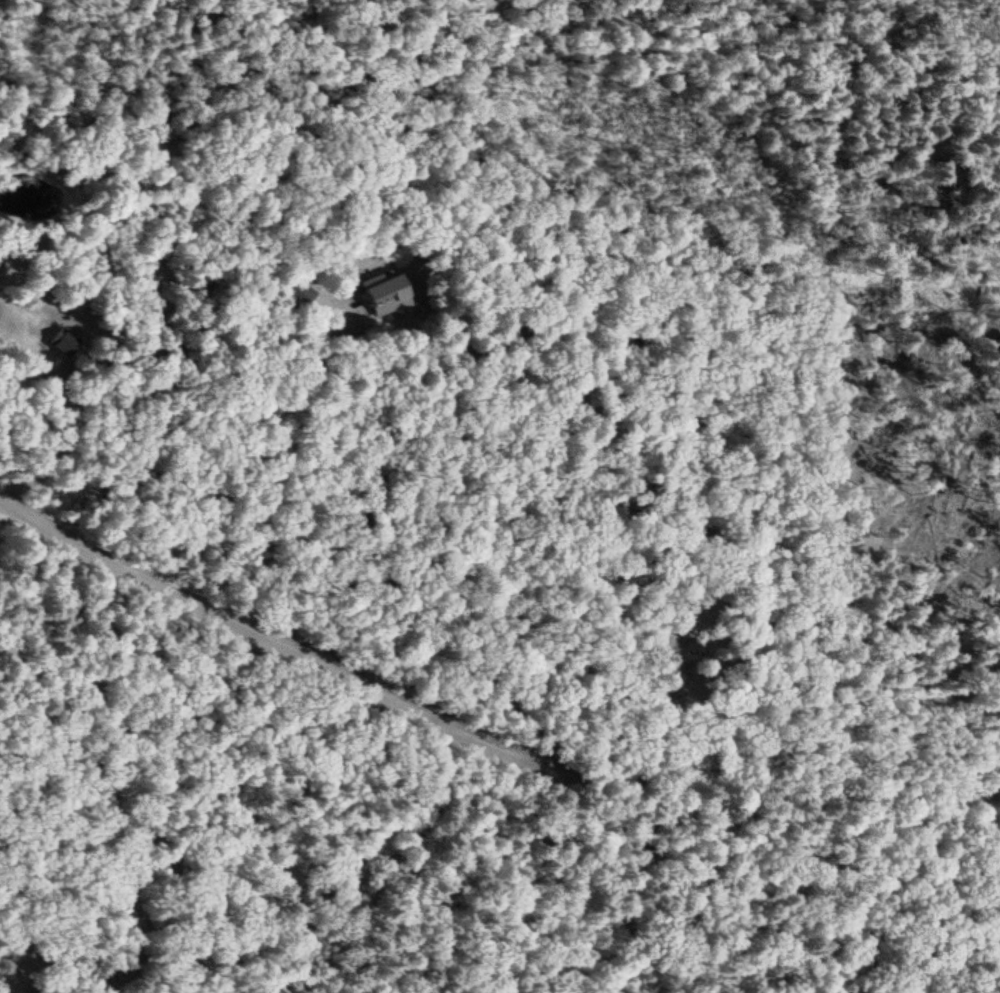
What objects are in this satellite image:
building: (387, 296)
road: (133, 572)
road: (638, 771)

